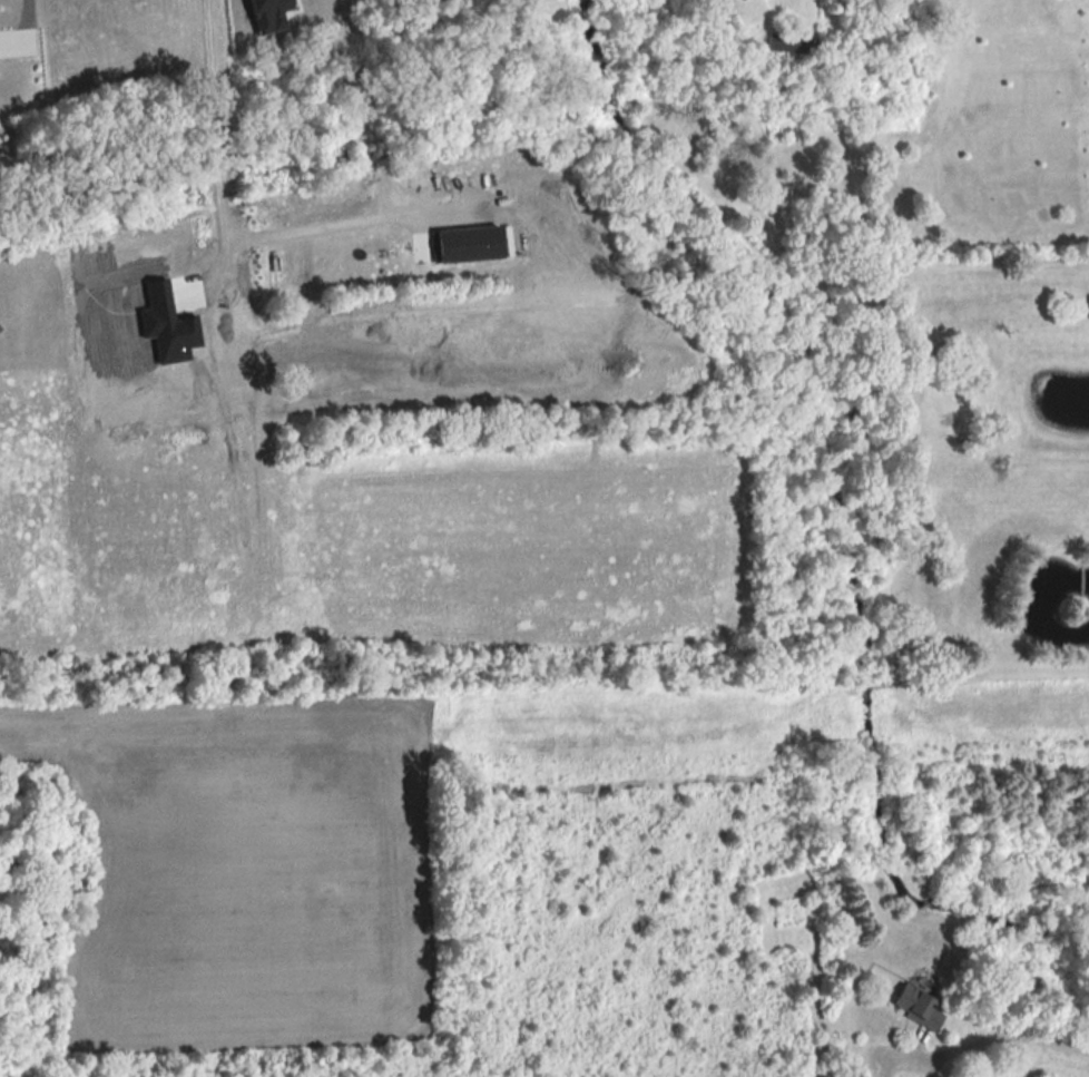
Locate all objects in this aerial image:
road: (31, 31)
building: (788, 45)
road: (375, 135)
road: (223, 197)
crop: (134, 422)
crop: (246, 870)
building: (916, 1007)
road: (1012, 1039)
road: (909, 1059)
road: (932, 1067)

